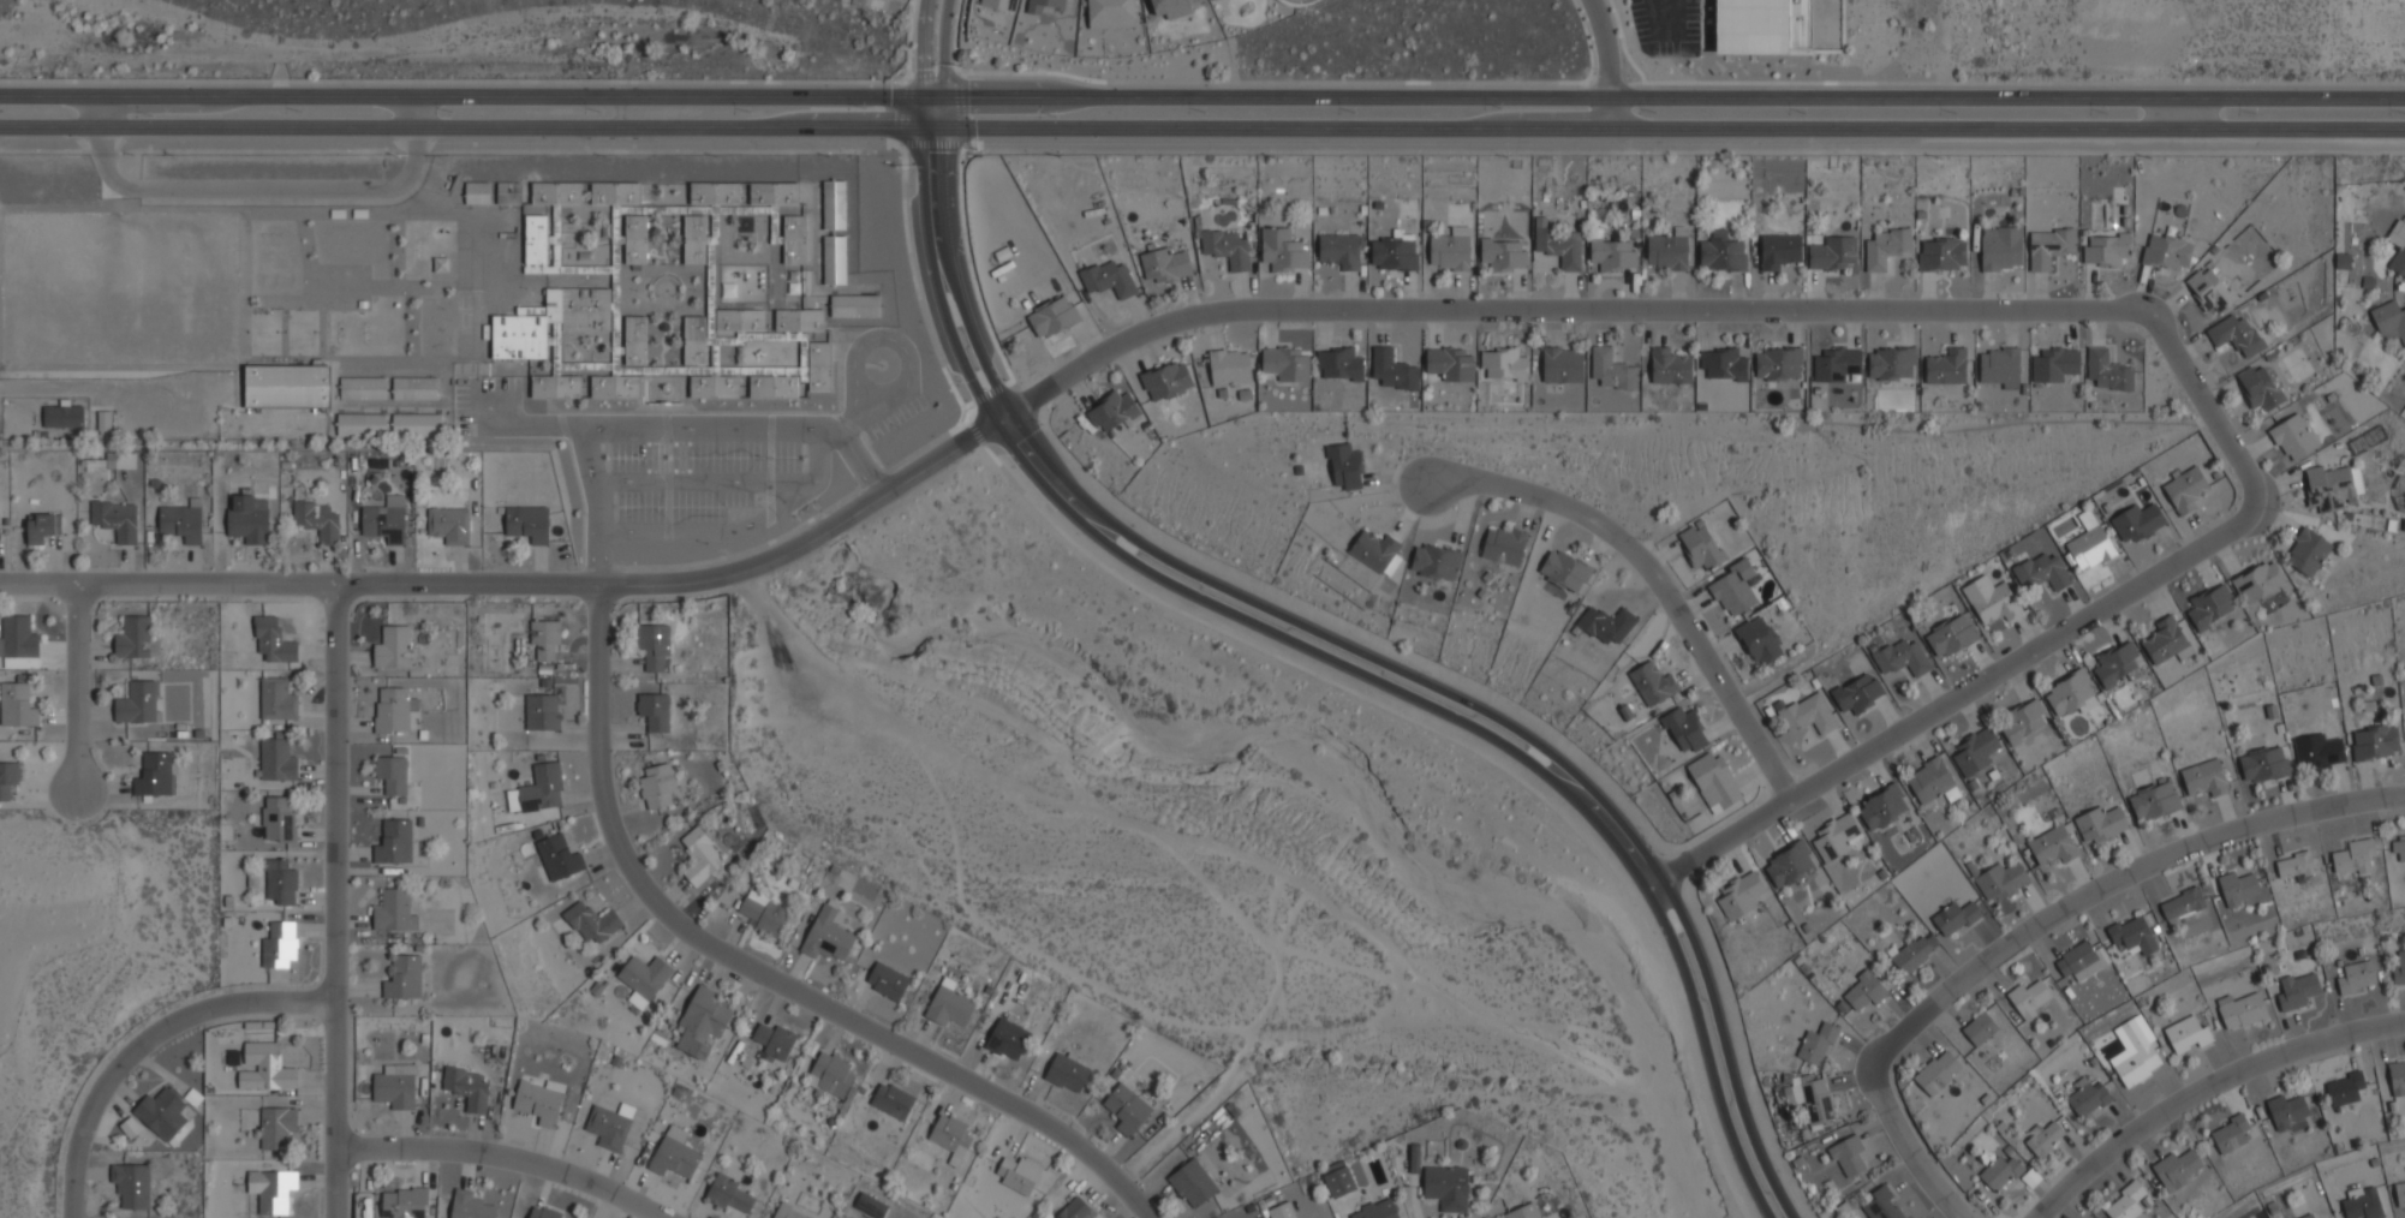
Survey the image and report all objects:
building: (1212, 0)
building: (998, 5)
building: (1043, 5)
building: (1169, 7)
building: (1109, 13)
building: (1761, 25)
parking lot: (1663, 26)
road: (1667, 34)
road: (954, 35)
road: (920, 48)
road: (942, 49)
road: (1604, 67)
road: (935, 76)
road: (494, 80)
traffic signals: (918, 98)
traffic signals: (943, 100)
road: (1201, 100)
road: (2174, 117)
traffic signals: (920, 135)
traffic signals: (944, 136)
road: (1201, 136)
road: (1201, 145)
road: (257, 190)
building: (477, 192)
building: (508, 192)
building: (555, 192)
building: (614, 192)
building: (711, 193)
building: (832, 203)
building: (780, 216)
building: (634, 238)
building: (694, 238)
building: (535, 243)
building: (1559, 245)
building: (2048, 245)
building: (1227, 247)
building: (1450, 247)
building: (1886, 247)
building: (2000, 247)
building: (1282, 249)
building: (1339, 249)
building: (1667, 249)
building: (1779, 249)
building: (2107, 249)
building: (2399, 249)
building: (2166, 251)
building: (1394, 252)
building: (1613, 252)
building: (1832, 252)
building: (1504, 253)
building: (1721, 253)
building: (1941, 253)
building: (832, 258)
building: (2340, 262)
building: (1164, 264)
building: (1109, 276)
building: (2209, 287)
building: (854, 304)
road: (2033, 309)
building: (1052, 316)
building: (2389, 317)
building: (548, 320)
building: (739, 320)
building: (798, 321)
building: (2236, 333)
building: (634, 340)
building: (703, 362)
building: (1339, 362)
building: (1778, 362)
building: (1891, 362)
building: (1284, 363)
building: (1450, 363)
building: (1503, 363)
building: (1723, 363)
building: (1562, 364)
building: (1838, 364)
building: (2053, 364)
building: (1229, 365)
building: (1669, 365)
building: (1946, 365)
building: (1999, 366)
building: (1394, 369)
building: (1611, 369)
building: (2107, 372)
building: (796, 375)
building: (1166, 380)
building: (555, 384)
building: (286, 386)
building: (362, 386)
building: (616, 386)
building: (2260, 386)
building: (413, 387)
road: (100, 390)
building: (1112, 410)
building: (62, 416)
road: (997, 419)
building: (103, 420)
building: (414, 423)
building: (359, 424)
road: (535, 424)
road: (711, 428)
building: (2292, 436)
building: (121, 459)
road: (864, 462)
building: (1345, 465)
road: (702, 480)
building: (2332, 485)
building: (2184, 488)
road: (595, 503)
building: (247, 517)
building: (115, 518)
building: (384, 519)
building: (316, 520)
building: (180, 521)
building: (527, 521)
building: (2136, 521)
building: (448, 523)
building: (41, 527)
road: (736, 529)
building: (2090, 542)
building: (1503, 544)
building: (1701, 544)
building: (1375, 550)
building: (2306, 550)
building: (1434, 561)
building: (1564, 569)
building: (2042, 569)
road: (1655, 578)
building: (2258, 581)
road: (517, 583)
building: (1733, 587)
building: (1989, 598)
building: (2210, 607)
building: (1607, 623)
building: (19, 635)
building: (1951, 635)
building: (135, 638)
building: (273, 639)
building: (544, 639)
building: (1759, 639)
building: (2165, 640)
building: (654, 645)
building: (390, 646)
road: (1355, 652)
building: (1900, 655)
road: (1323, 659)
building: (2117, 663)
building: (1652, 682)
road: (76, 687)
building: (2069, 691)
building: (1857, 692)
building: (277, 699)
building: (138, 703)
building: (17, 704)
building: (392, 709)
building: (541, 711)
building: (655, 711)
building: (1808, 712)
building: (2023, 720)
building: (1684, 728)
building: (2375, 742)
building: (1974, 751)
building: (2319, 751)
building: (277, 759)
building: (2263, 764)
building: (390, 774)
building: (155, 776)
building: (2204, 777)
building: (7, 778)
building: (1714, 780)
building: (1930, 780)
building: (657, 786)
building: (541, 788)
building: (2154, 801)
building: (1882, 806)
building: (280, 819)
building: (2100, 824)
building: (1836, 836)
building: (393, 842)
building: (2053, 844)
building: (2398, 847)
building: (2353, 856)
building: (557, 858)
building: (699, 858)
building: (1789, 864)
building: (2293, 865)
building: (2001, 879)
building: (253, 880)
building: (281, 880)
building: (2237, 888)
building: (1739, 895)
road: (338, 900)
building: (229, 901)
building: (2182, 906)
building: (393, 912)
building: (763, 913)
building: (1955, 917)
building: (590, 921)
road: (2035, 925)
building: (826, 936)
building: (2132, 936)
building: (280, 944)
building: (1915, 951)
building: (2077, 960)
building: (2399, 969)
road: (760, 974)
building: (643, 977)
building: (2356, 977)
building: (404, 978)
building: (887, 980)
building: (1864, 989)
building: (2296, 990)
building: (2028, 997)
building: (949, 1004)
building: (2242, 1010)
building: (700, 1023)
building: (1981, 1027)
building: (2186, 1034)
building: (772, 1039)
building: (1007, 1039)
road: (147, 1041)
building: (1816, 1043)
building: (2136, 1055)
building: (265, 1067)
building: (830, 1073)
building: (1067, 1073)
building: (1938, 1073)
building: (2397, 1077)
building: (395, 1087)
building: (465, 1087)
road: (2204, 1088)
building: (2344, 1088)
building: (2087, 1098)
building: (1812, 1099)
building: (538, 1100)
building: (891, 1100)
building: (1126, 1109)
building: (2286, 1111)
building: (162, 1115)
building: (130, 1127)
building: (275, 1127)
building: (607, 1127)
building: (2228, 1133)
building: (949, 1136)
building: (2043, 1136)
building: (673, 1153)
building: (1849, 1156)
road: (502, 1159)
building: (1414, 1159)
building: (2176, 1168)
building: (1017, 1174)
building: (1999, 1174)
building: (1339, 1182)
building: (131, 1183)
building: (1192, 1183)
building: (1446, 1187)
building: (271, 1188)
building: (728, 1193)
building: (2399, 1194)
building: (404, 1202)
building: (2125, 1202)
building: (1880, 1204)
building: (2361, 1204)
building: (469, 1205)
building: (870, 1205)
building: (1074, 1210)
building: (1377, 1210)
building: (541, 1211)
building: (1281, 1211)
building: (788, 1212)
building: (1524, 1212)
building: (2305, 1217)

